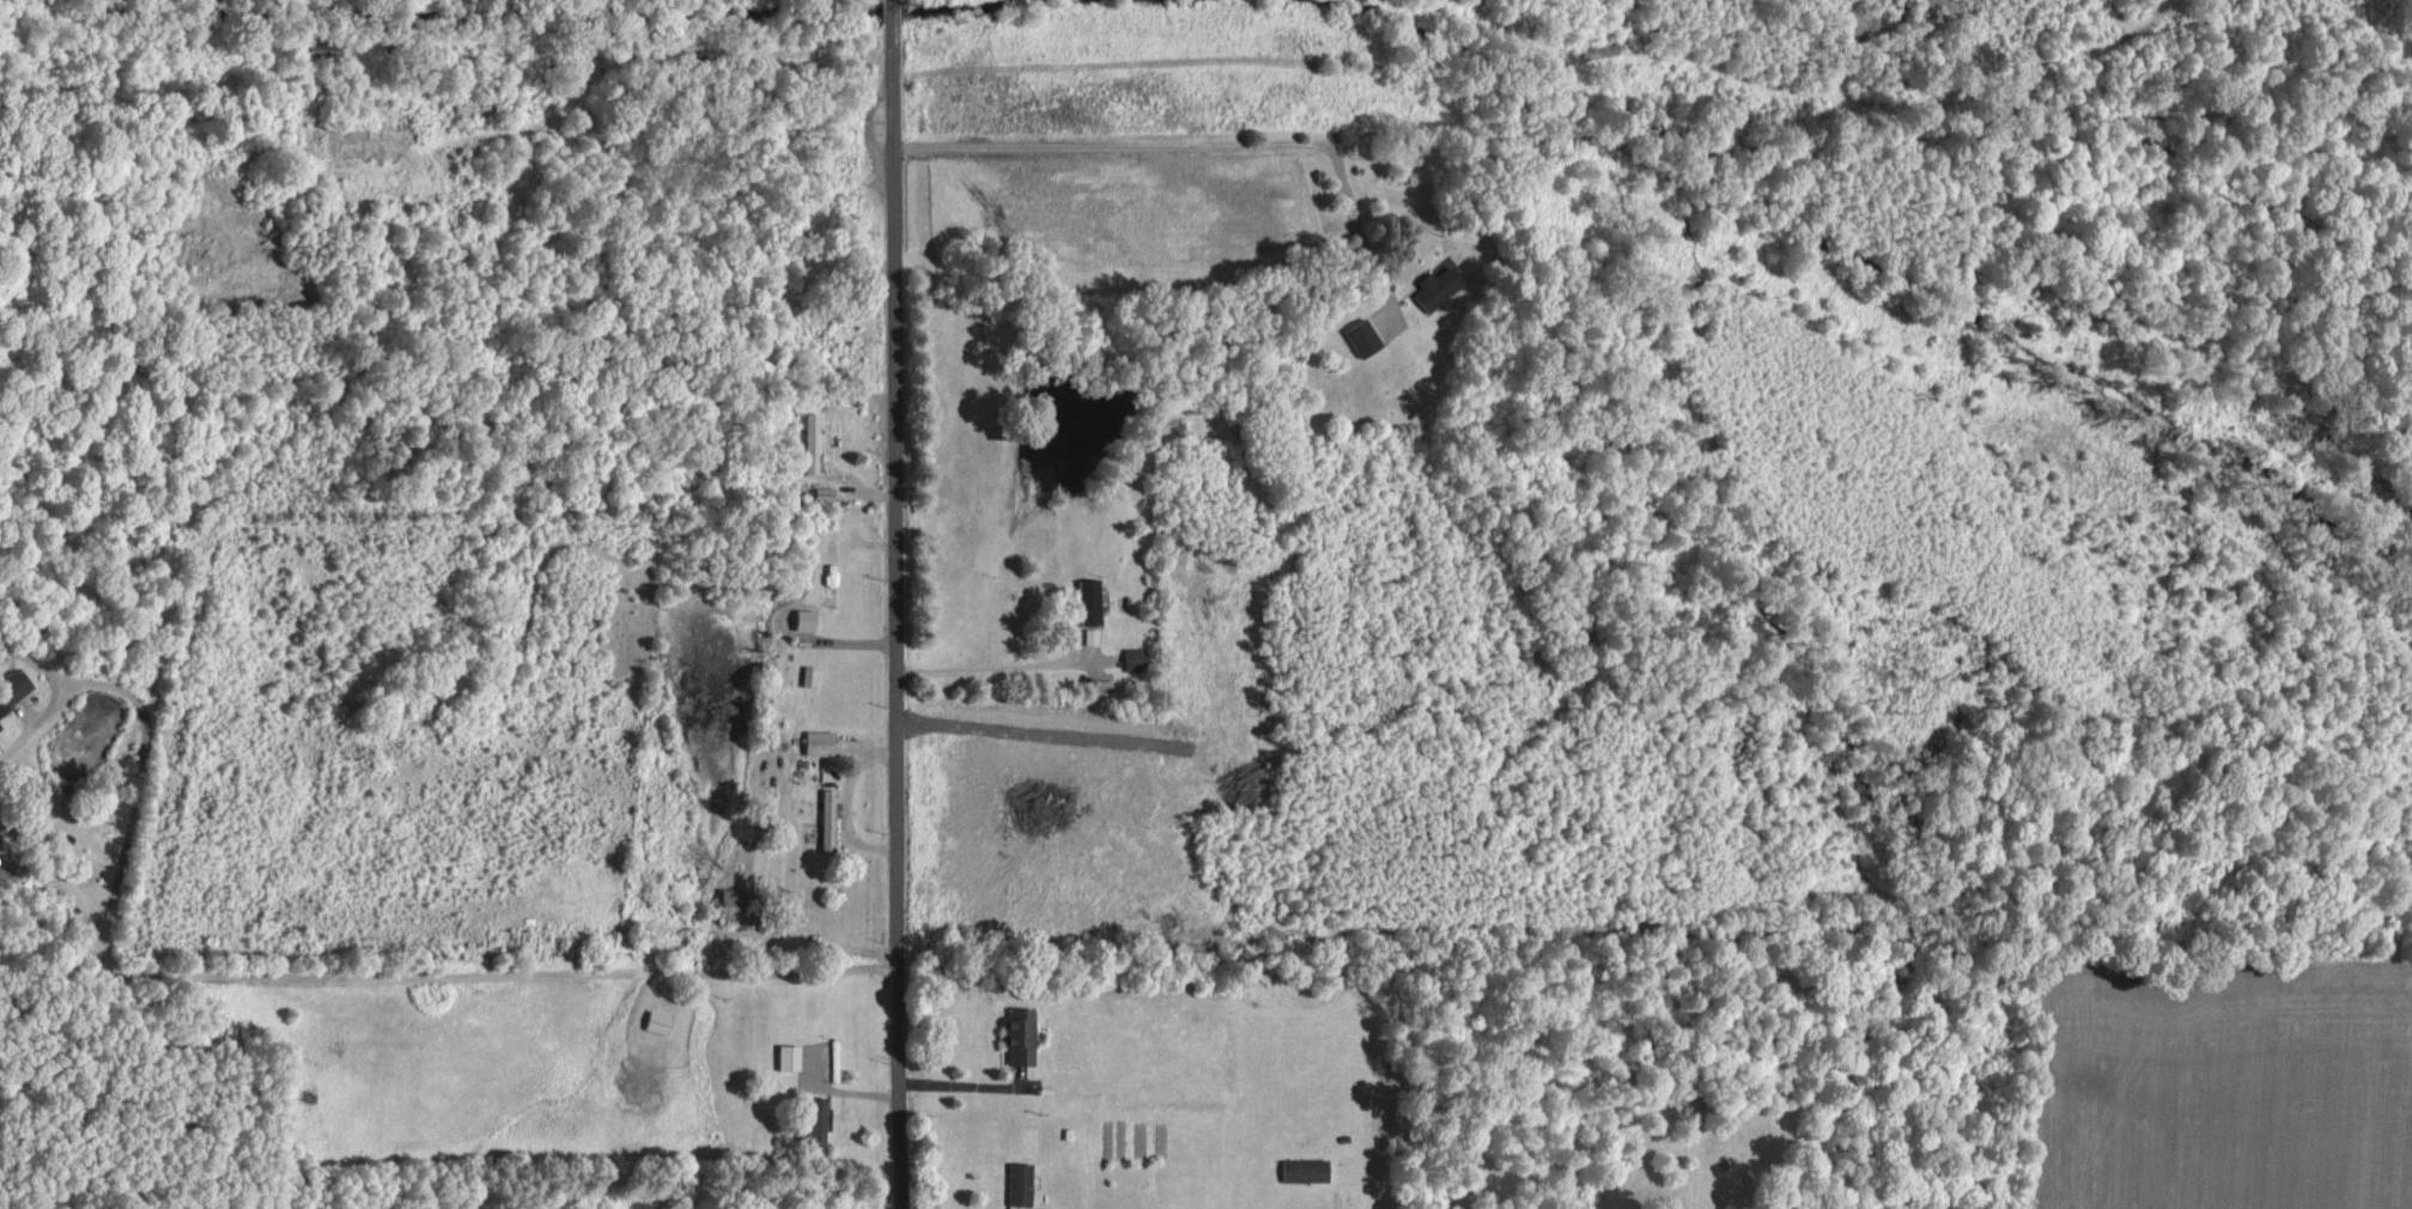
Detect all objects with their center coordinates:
building: (1433, 287)
building: (1359, 335)
building: (812, 441)
building: (820, 492)
building: (1086, 600)
road: (892, 604)
building: (1088, 634)
building: (1132, 658)
building: (11, 686)
building: (815, 741)
building: (824, 818)
building: (729, 903)
building: (655, 1021)
building: (1016, 1034)
building: (785, 1056)
building: (813, 1125)
building: (1300, 1168)
building: (1016, 1183)
building: (1039, 1208)

